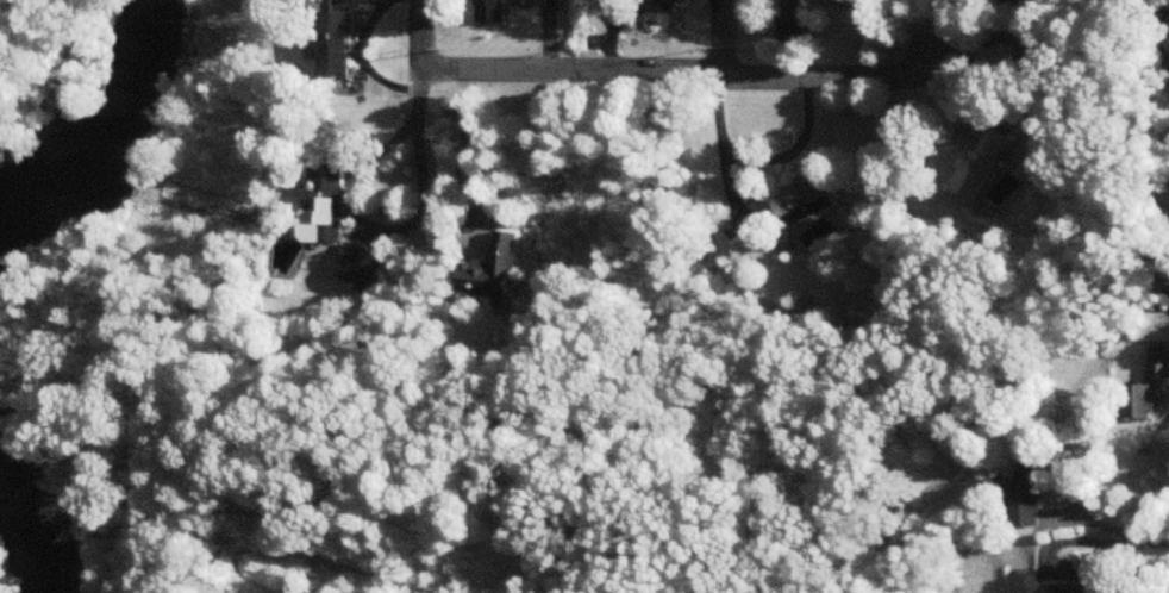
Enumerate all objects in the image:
building: (489, 12)
building: (659, 12)
building: (792, 24)
road: (417, 29)
road: (721, 39)
building: (1023, 44)
building: (336, 46)
road: (67, 51)
road: (683, 79)
road: (50, 120)
road: (406, 125)
river: (105, 129)
road: (468, 145)
building: (977, 169)
building: (323, 198)
building: (805, 200)
building: (361, 269)
building: (493, 273)
building: (1161, 298)
building: (1159, 366)
building: (1142, 405)
building: (1027, 494)
river: (30, 514)
road: (1095, 523)
road: (1152, 539)
road: (1090, 541)
road: (337, 579)
building: (1069, 591)

